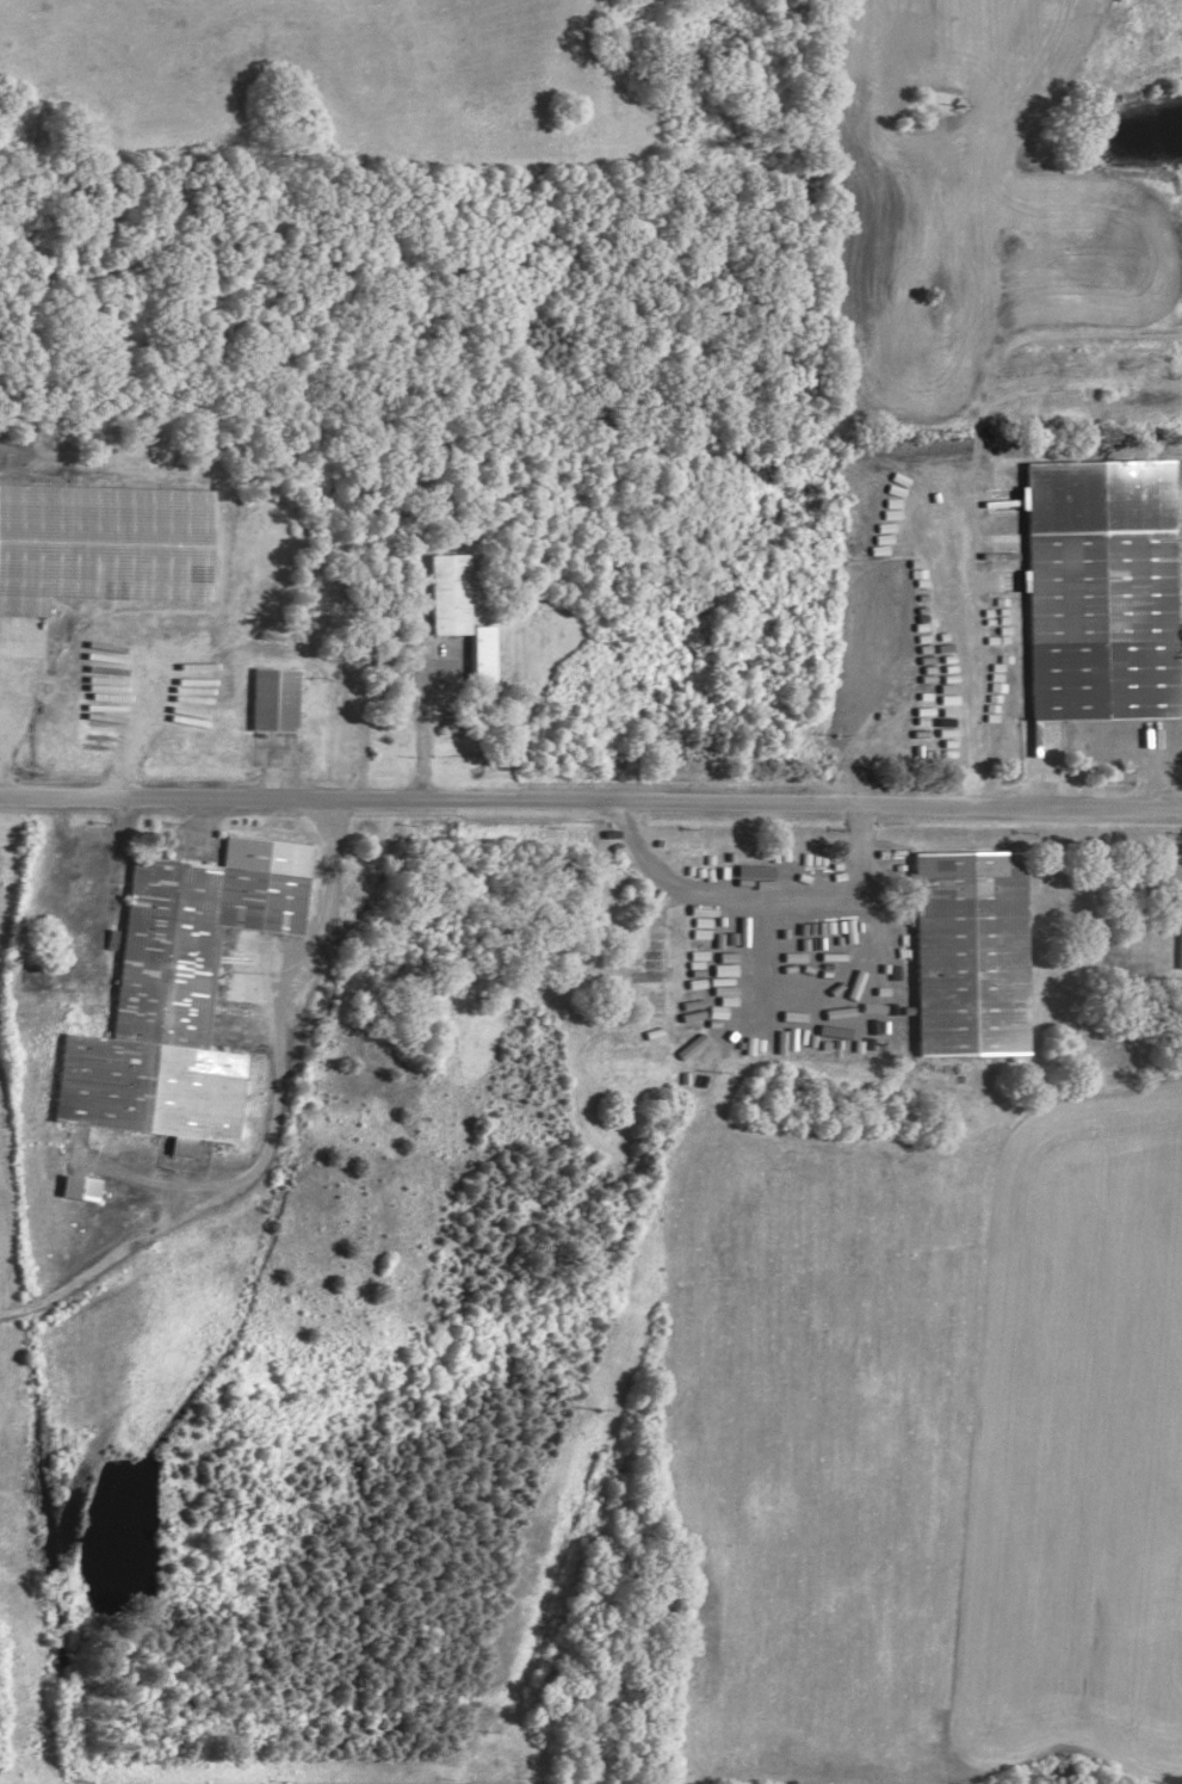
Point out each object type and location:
building: (103, 543)
building: (1101, 587)
building: (457, 613)
building: (274, 698)
road: (590, 796)
building: (1180, 938)
building: (969, 951)
building: (179, 990)
building: (79, 1185)

